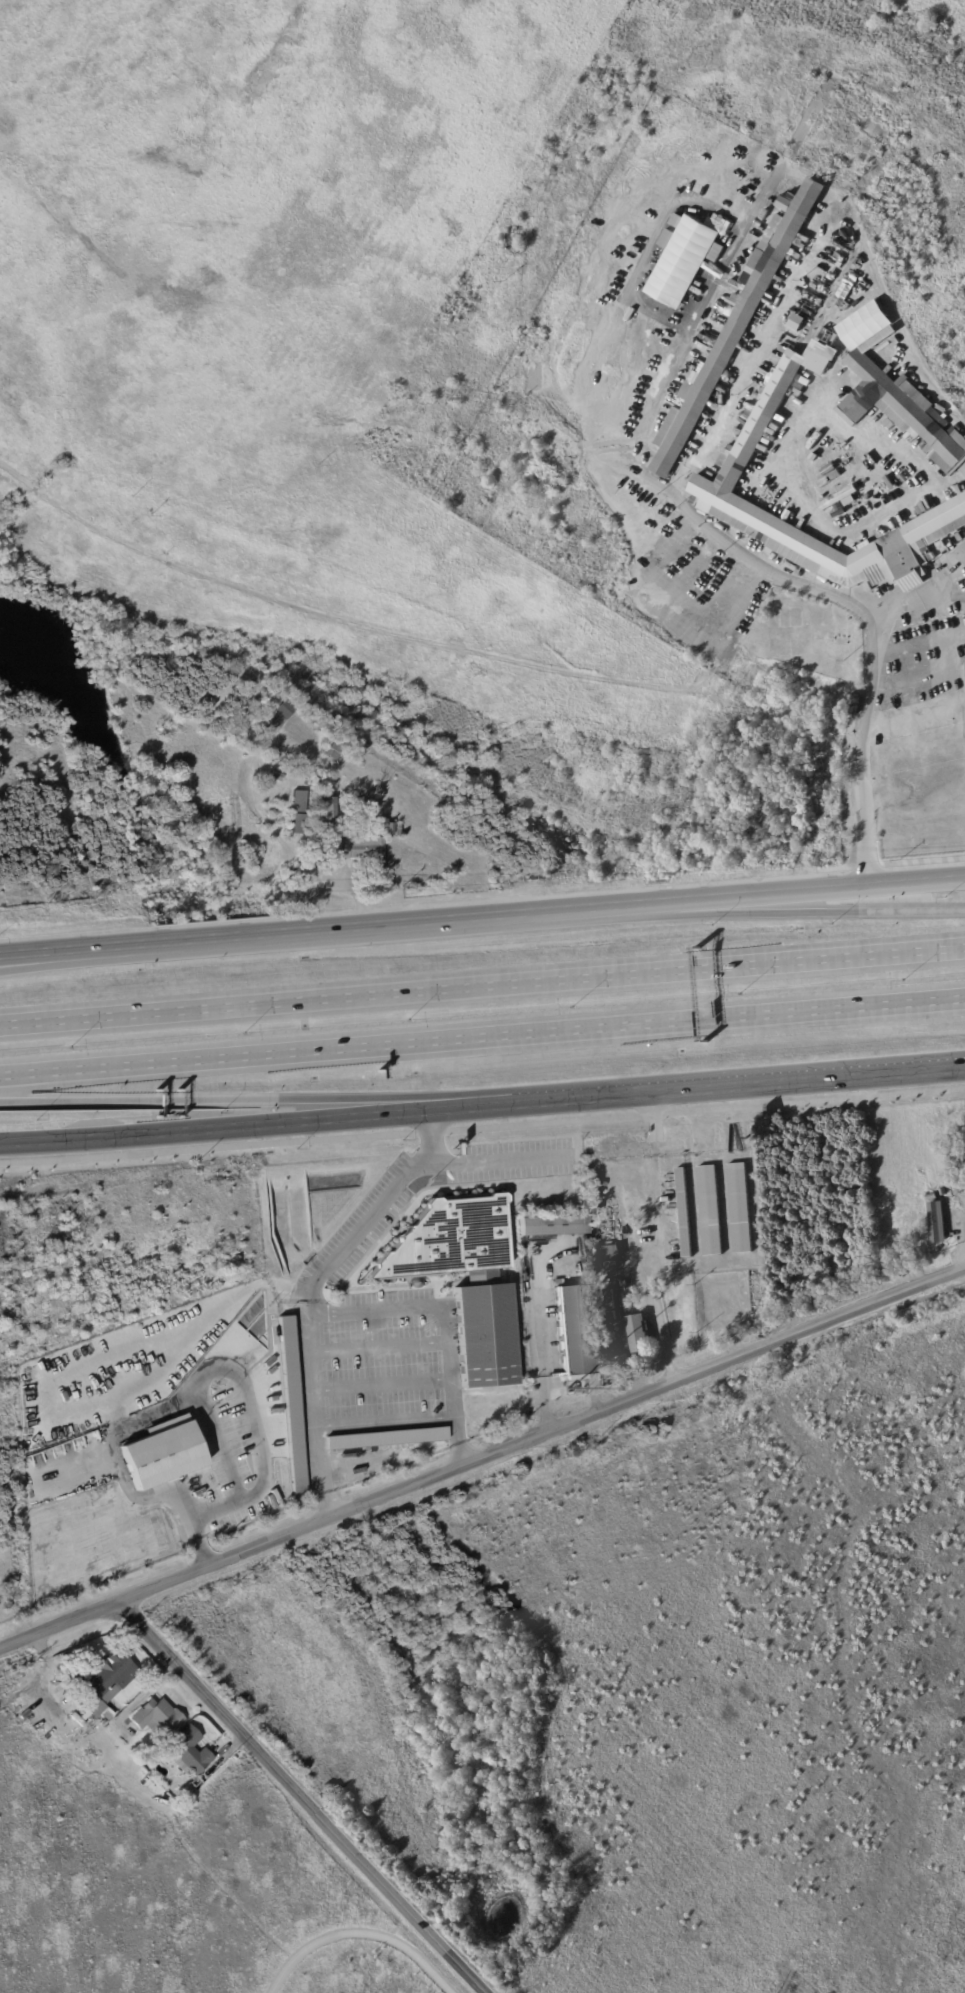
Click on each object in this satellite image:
building: (513, 242)
building: (684, 258)
building: (798, 321)
building: (739, 323)
landfill: (512, 353)
building: (897, 391)
building: (735, 466)
building: (830, 470)
building: (831, 479)
building: (842, 499)
building: (853, 706)
building: (278, 718)
road: (860, 744)
building: (340, 747)
building: (323, 752)
building: (276, 778)
building: (297, 813)
building: (388, 830)
building: (318, 833)
building: (397, 833)
building: (348, 843)
road: (782, 911)
road: (482, 916)
road: (75, 957)
road: (482, 980)
road: (482, 1039)
road: (734, 1084)
road: (252, 1100)
road: (252, 1125)
road: (482, 1127)
road: (496, 1159)
building: (948, 1168)
building: (944, 1191)
road: (381, 1204)
building: (740, 1208)
building: (711, 1210)
building: (684, 1212)
building: (937, 1219)
building: (551, 1226)
road: (654, 1236)
building: (610, 1252)
building: (611, 1263)
building: (611, 1304)
road: (372, 1308)
road: (443, 1323)
road: (181, 1329)
building: (574, 1332)
building: (639, 1333)
building: (485, 1336)
road: (539, 1343)
road: (376, 1344)
road: (446, 1376)
road: (308, 1382)
road: (378, 1383)
road: (242, 1388)
building: (291, 1408)
road: (382, 1418)
road: (452, 1428)
building: (387, 1439)
building: (161, 1454)
road: (455, 1455)
road: (482, 1455)
road: (322, 1497)
road: (188, 1531)
building: (107, 1678)
building: (156, 1719)
building: (187, 1752)
building: (195, 1783)
road: (305, 1796)
road: (359, 1930)

